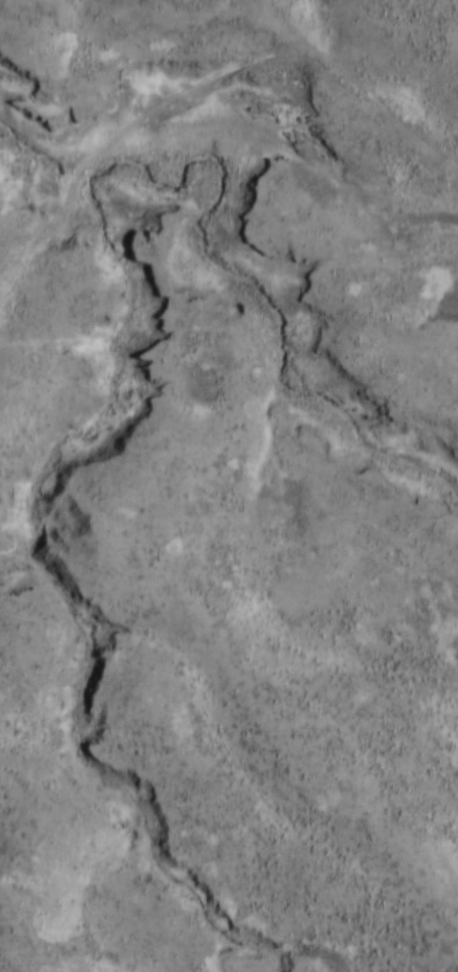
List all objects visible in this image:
road: (211, 81)

